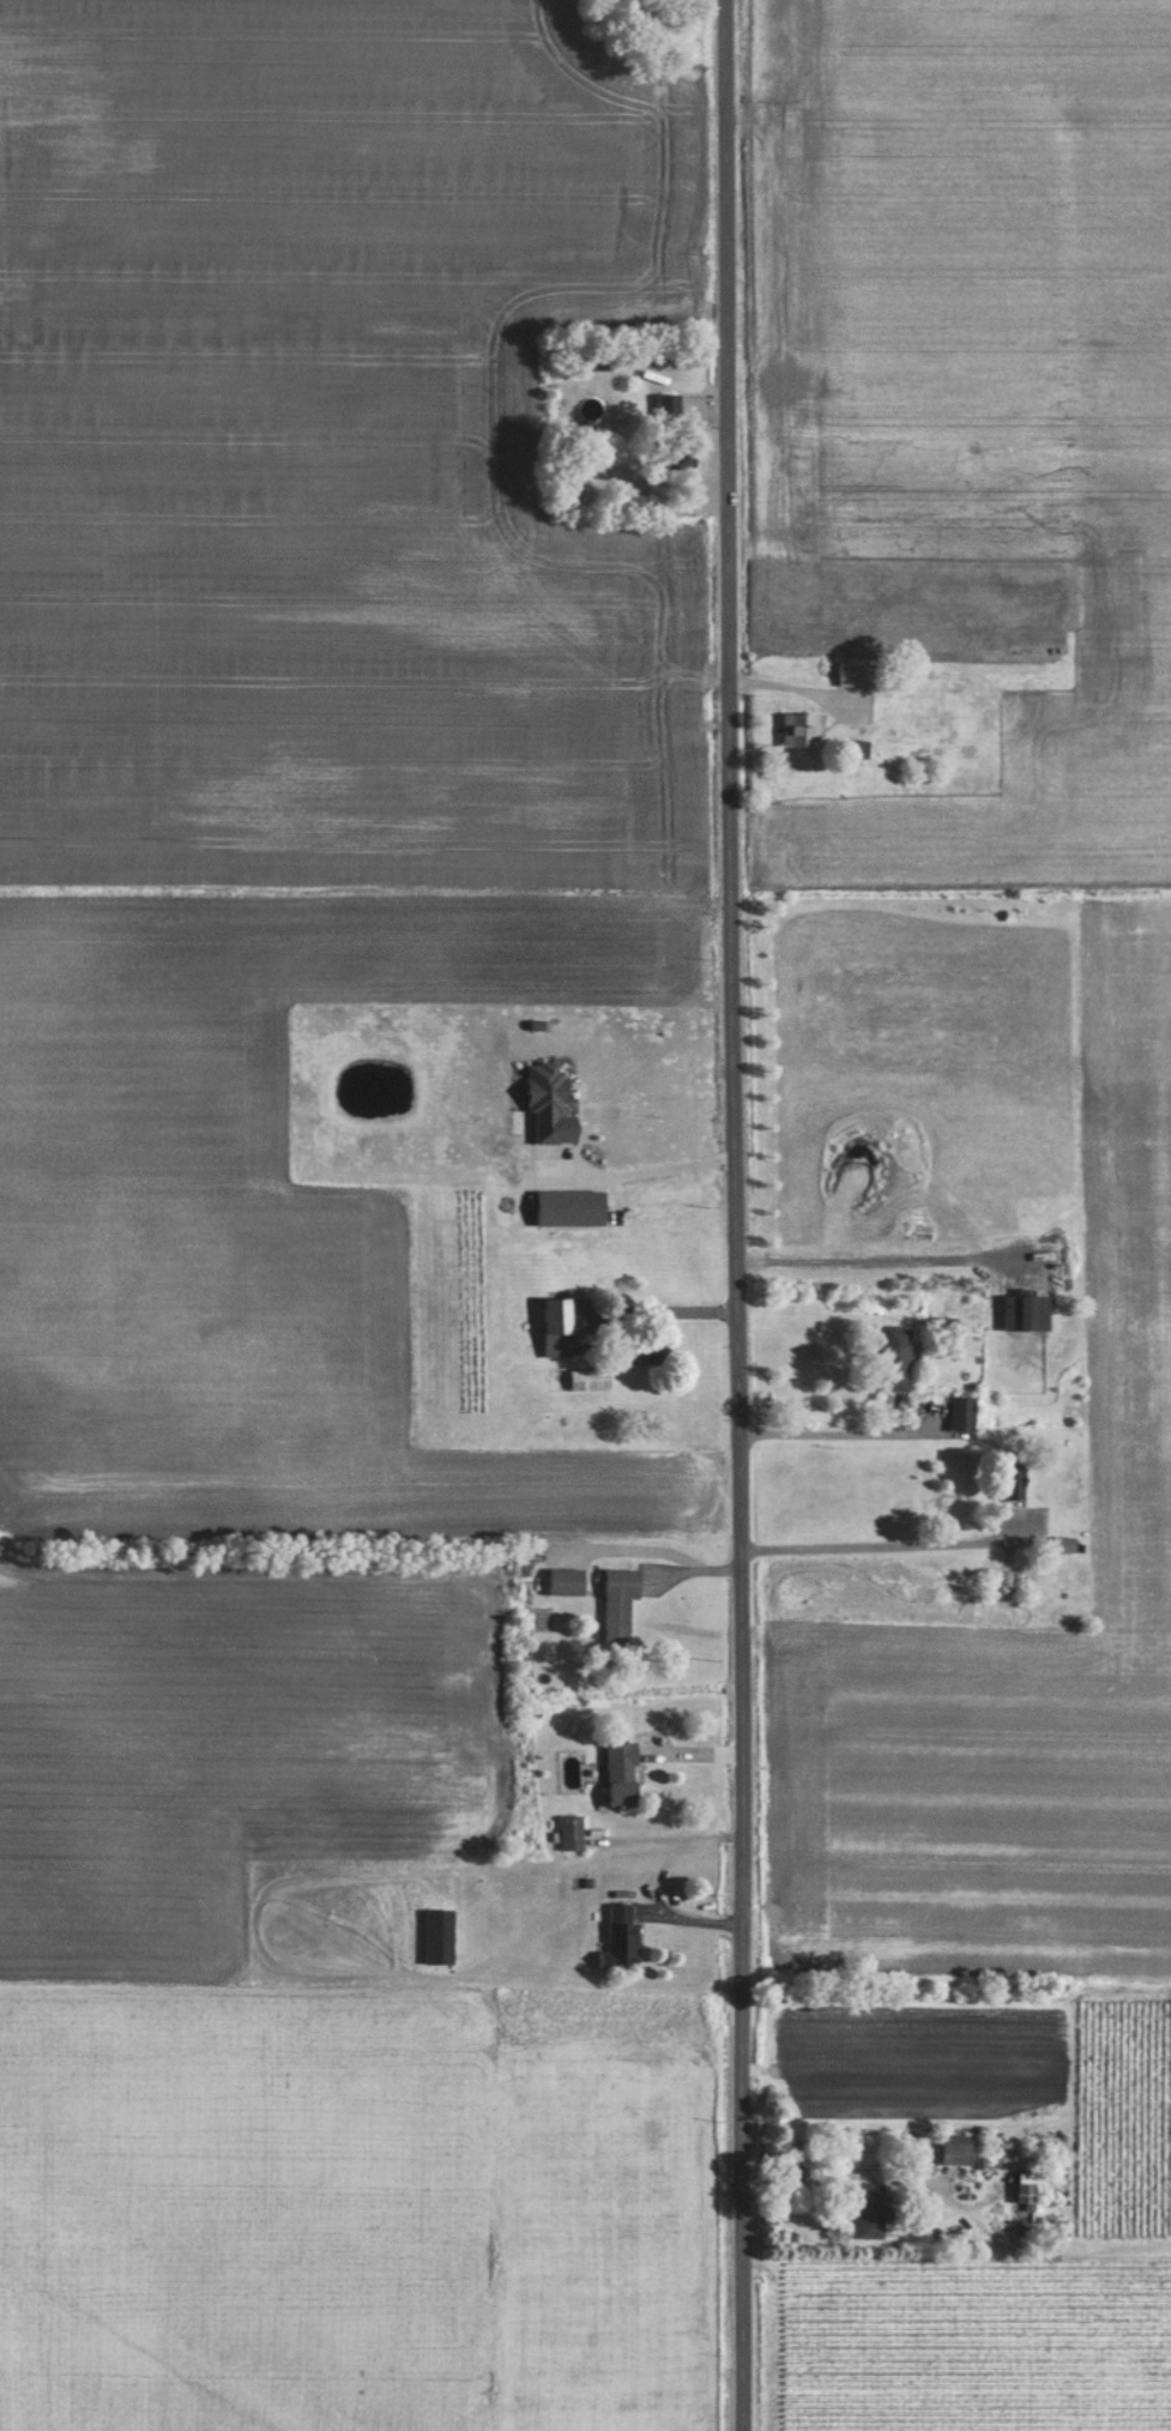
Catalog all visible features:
building: (858, 674)
building: (925, 717)
building: (802, 730)
building: (858, 748)
building: (553, 1099)
road: (636, 1187)
building: (572, 1206)
road: (737, 1215)
road: (881, 1256)
road: (659, 1308)
building: (1027, 1310)
building: (559, 1314)
building: (648, 1351)
building: (895, 1357)
building: (590, 1379)
building: (964, 1412)
road: (819, 1446)
building: (1013, 1480)
building: (1067, 1543)
road: (877, 1557)
building: (567, 1580)
building: (621, 1599)
building: (622, 1774)
building: (572, 1832)
road: (681, 1836)
building: (442, 1935)
building: (623, 1938)
building: (960, 2153)
building: (1030, 2178)
building: (869, 2209)

